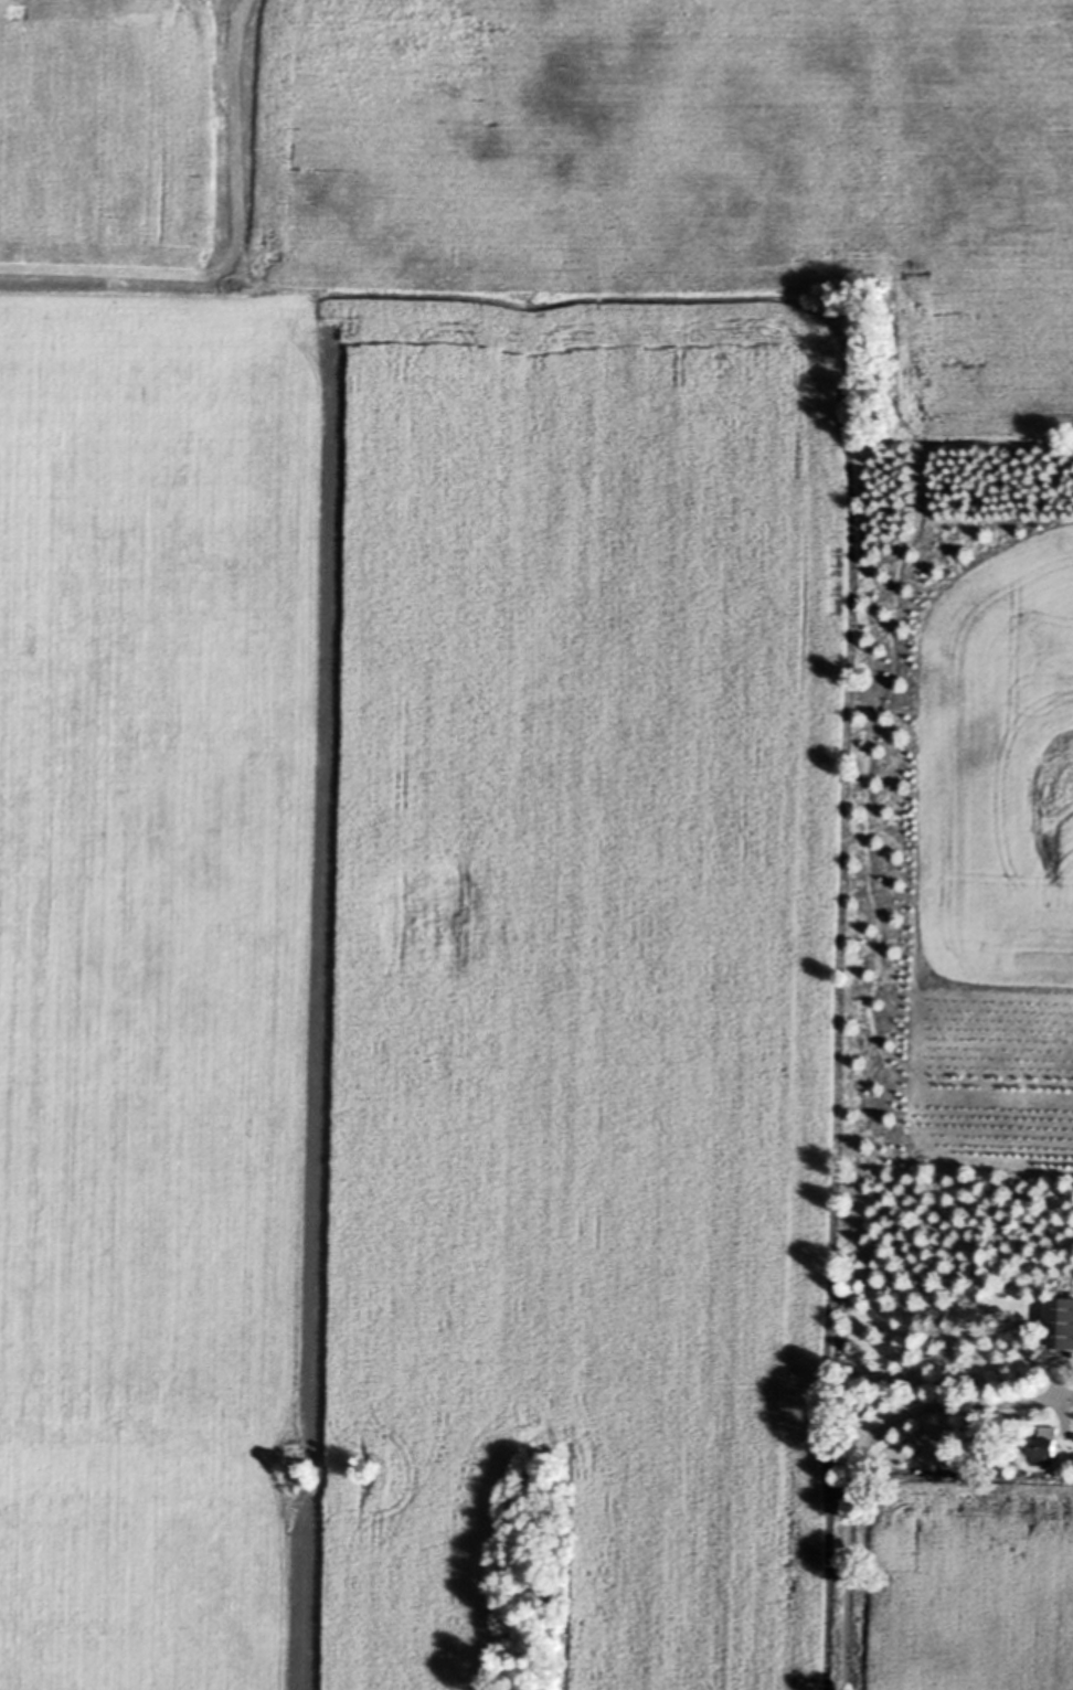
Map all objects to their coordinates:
crop: (567, 164)
crop: (416, 991)
building: (1056, 1324)
building: (1043, 1446)
road: (856, 1460)
crop: (969, 1582)

